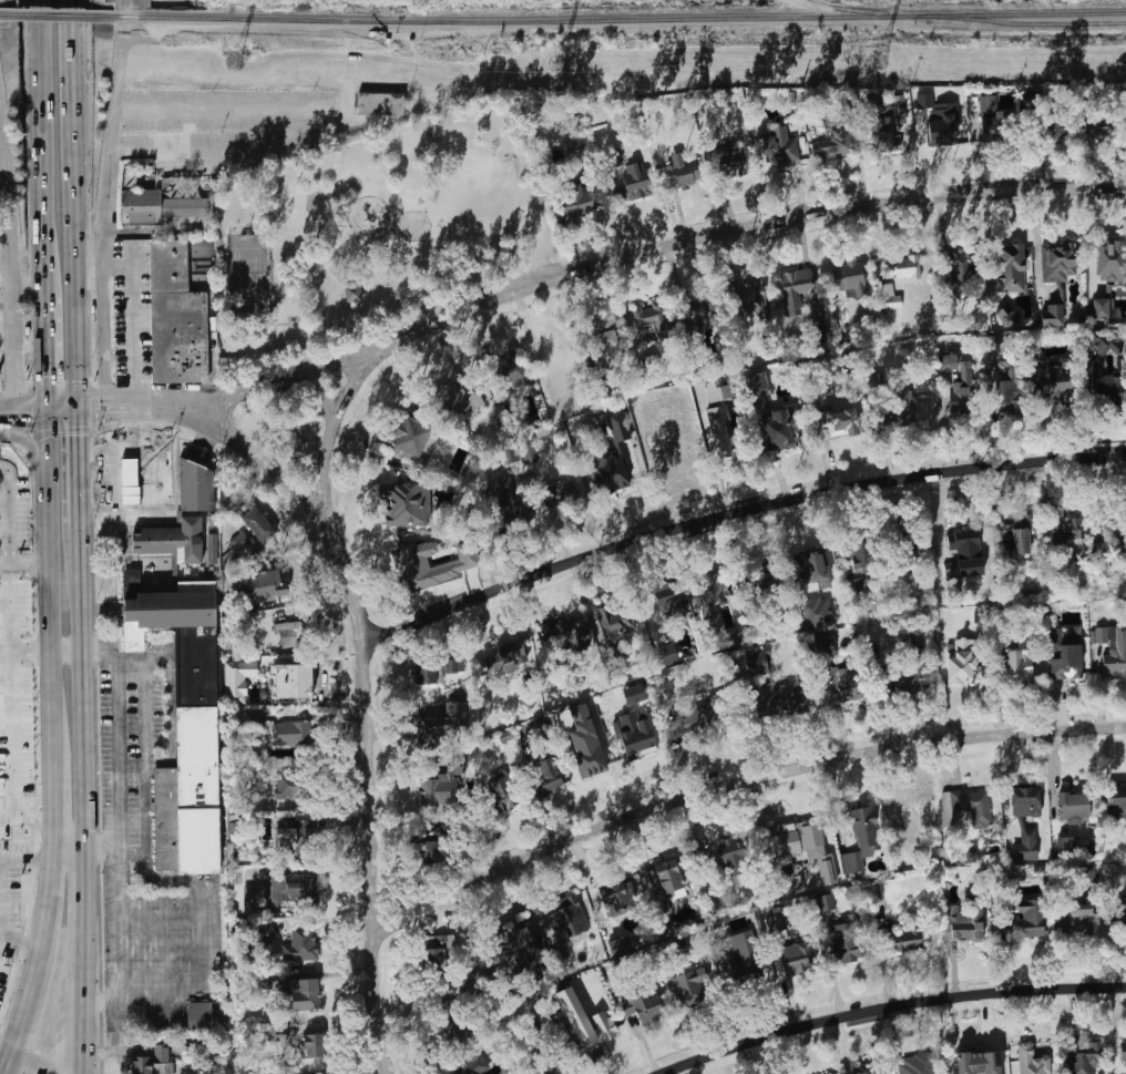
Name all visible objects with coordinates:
railway: (59, 17)
railway: (622, 19)
railway: (1034, 24)
power tower: (878, 62)
power tower: (236, 64)
power tower: (553, 65)
road: (350, 91)
building: (380, 103)
parking lot: (231, 106)
road: (71, 108)
road: (40, 109)
building: (899, 109)
building: (989, 117)
building: (940, 122)
building: (1056, 130)
building: (777, 145)
building: (832, 145)
road: (223, 150)
building: (731, 161)
building: (682, 172)
road: (4, 180)
building: (635, 182)
building: (580, 200)
building: (141, 206)
building: (184, 207)
road: (105, 211)
road: (759, 224)
road: (382, 231)
road: (628, 231)
park: (377, 233)
road: (576, 247)
road: (13, 252)
road: (43, 255)
road: (89, 257)
building: (1110, 260)
building: (1057, 262)
building: (959, 265)
building: (908, 267)
building: (1011, 268)
park: (248, 275)
building: (848, 276)
road: (337, 291)
building: (798, 291)
road: (344, 296)
building: (749, 296)
building: (890, 297)
road: (74, 306)
building: (1105, 307)
building: (703, 310)
road: (132, 314)
building: (1006, 314)
building: (1053, 315)
building: (176, 317)
building: (653, 319)
road: (277, 320)
road: (289, 326)
building: (820, 334)
building: (603, 338)
building: (1104, 341)
building: (991, 344)
road: (44, 347)
road: (344, 359)
building: (948, 362)
road: (8, 365)
building: (510, 370)
traffic signals: (47, 372)
road: (365, 375)
building: (1056, 378)
building: (758, 387)
building: (1106, 388)
building: (718, 390)
road: (115, 391)
traffic signals: (101, 393)
road: (173, 393)
road: (217, 396)
building: (1006, 397)
road: (62, 398)
building: (457, 399)
road: (23, 401)
road: (78, 406)
road: (166, 412)
road: (39, 419)
traffic signals: (25, 420)
building: (840, 420)
building: (618, 425)
road: (127, 430)
building: (719, 430)
building: (780, 430)
traffic signals: (79, 431)
building: (411, 437)
road: (156, 448)
road: (116, 449)
road: (37, 453)
road: (323, 464)
road: (79, 471)
road: (149, 472)
building: (611, 472)
road: (103, 477)
building: (134, 481)
road: (91, 483)
building: (196, 487)
building: (560, 494)
road: (135, 497)
road: (328, 498)
building: (505, 498)
road: (115, 499)
road: (309, 504)
building: (406, 504)
road: (736, 513)
building: (258, 525)
building: (1017, 534)
road: (9, 536)
building: (902, 539)
building: (173, 540)
building: (242, 540)
building: (962, 540)
building: (860, 555)
building: (454, 565)
road: (4, 566)
building: (815, 567)
building: (132, 575)
building: (766, 575)
road: (50, 585)
building: (856, 585)
building: (263, 586)
road: (355, 592)
building: (665, 604)
building: (715, 613)
building: (818, 613)
building: (615, 620)
building: (999, 627)
building: (288, 633)
building: (569, 634)
building: (140, 635)
building: (825, 646)
building: (1113, 647)
road: (66, 651)
building: (1066, 654)
building: (667, 655)
building: (509, 657)
building: (617, 657)
building: (964, 662)
building: (761, 663)
building: (1018, 665)
building: (434, 668)
building: (909, 671)
building: (237, 679)
building: (293, 681)
building: (847, 683)
road: (81, 685)
building: (633, 694)
building: (780, 699)
building: (697, 717)
building: (257, 720)
building: (446, 725)
building: (291, 733)
building: (188, 734)
building: (583, 735)
building: (638, 743)
parking lot: (125, 746)
road: (116, 751)
road: (131, 765)
building: (592, 765)
building: (458, 766)
building: (549, 774)
road: (737, 785)
building: (289, 786)
building: (439, 789)
road: (370, 791)
building: (501, 791)
building: (1026, 802)
building: (1116, 804)
building: (969, 806)
road: (54, 807)
building: (1074, 808)
building: (910, 809)
building: (863, 821)
building: (796, 832)
building: (286, 837)
road: (70, 842)
building: (1026, 845)
building: (1067, 846)
road: (129, 852)
road: (144, 852)
building: (432, 852)
building: (726, 855)
building: (902, 856)
building: (852, 862)
road: (0, 867)
building: (1087, 873)
parking lot: (11, 879)
building: (782, 879)
building: (666, 880)
road: (83, 882)
building: (284, 891)
building: (614, 893)
building: (826, 902)
road: (45, 918)
building: (1027, 920)
building: (1078, 920)
building: (569, 921)
road: (120, 922)
building: (777, 922)
building: (969, 924)
road: (21, 932)
building: (266, 933)
building: (905, 940)
building: (847, 942)
building: (301, 943)
parking lot: (8, 944)
building: (512, 947)
building: (437, 950)
parking lot: (154, 953)
building: (796, 960)
building: (747, 964)
parking lot: (4, 974)
building: (692, 985)
building: (303, 993)
building: (469, 994)
road: (83, 998)
road: (379, 1005)
building: (647, 1007)
road: (892, 1007)
building: (203, 1016)
road: (21, 1022)
building: (450, 1024)
road: (1034, 1033)
building: (595, 1036)
building: (310, 1045)
road: (7, 1046)
building: (1123, 1055)
building: (1085, 1058)
building: (1031, 1061)
building: (153, 1062)
road: (9, 1063)
building: (979, 1063)
building: (920, 1064)
road: (39, 1065)
building: (474, 1066)
building: (866, 1070)

